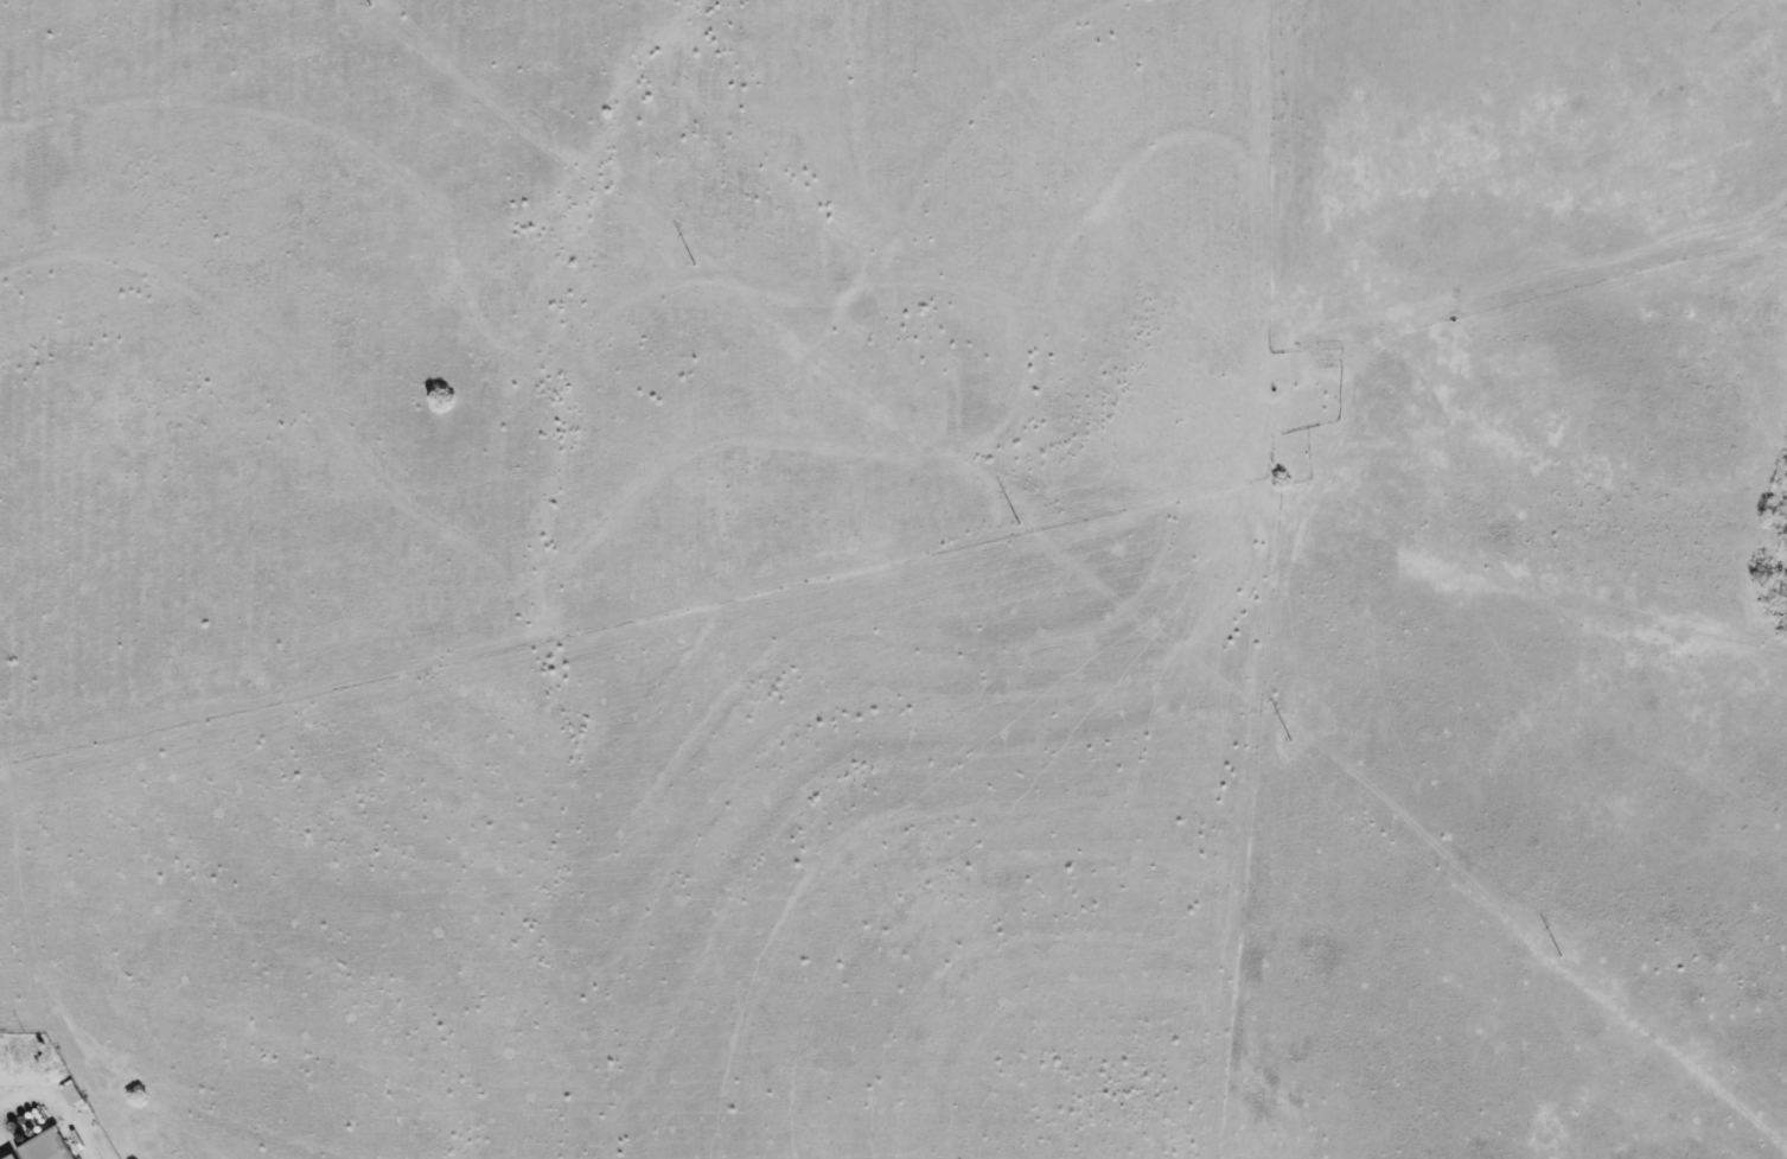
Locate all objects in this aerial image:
power tower: (360, 5)
power tower: (685, 260)
power tower: (1010, 518)
power tower: (1284, 735)
power tower: (1557, 954)
building: (40, 1148)
building: (6, 1158)

